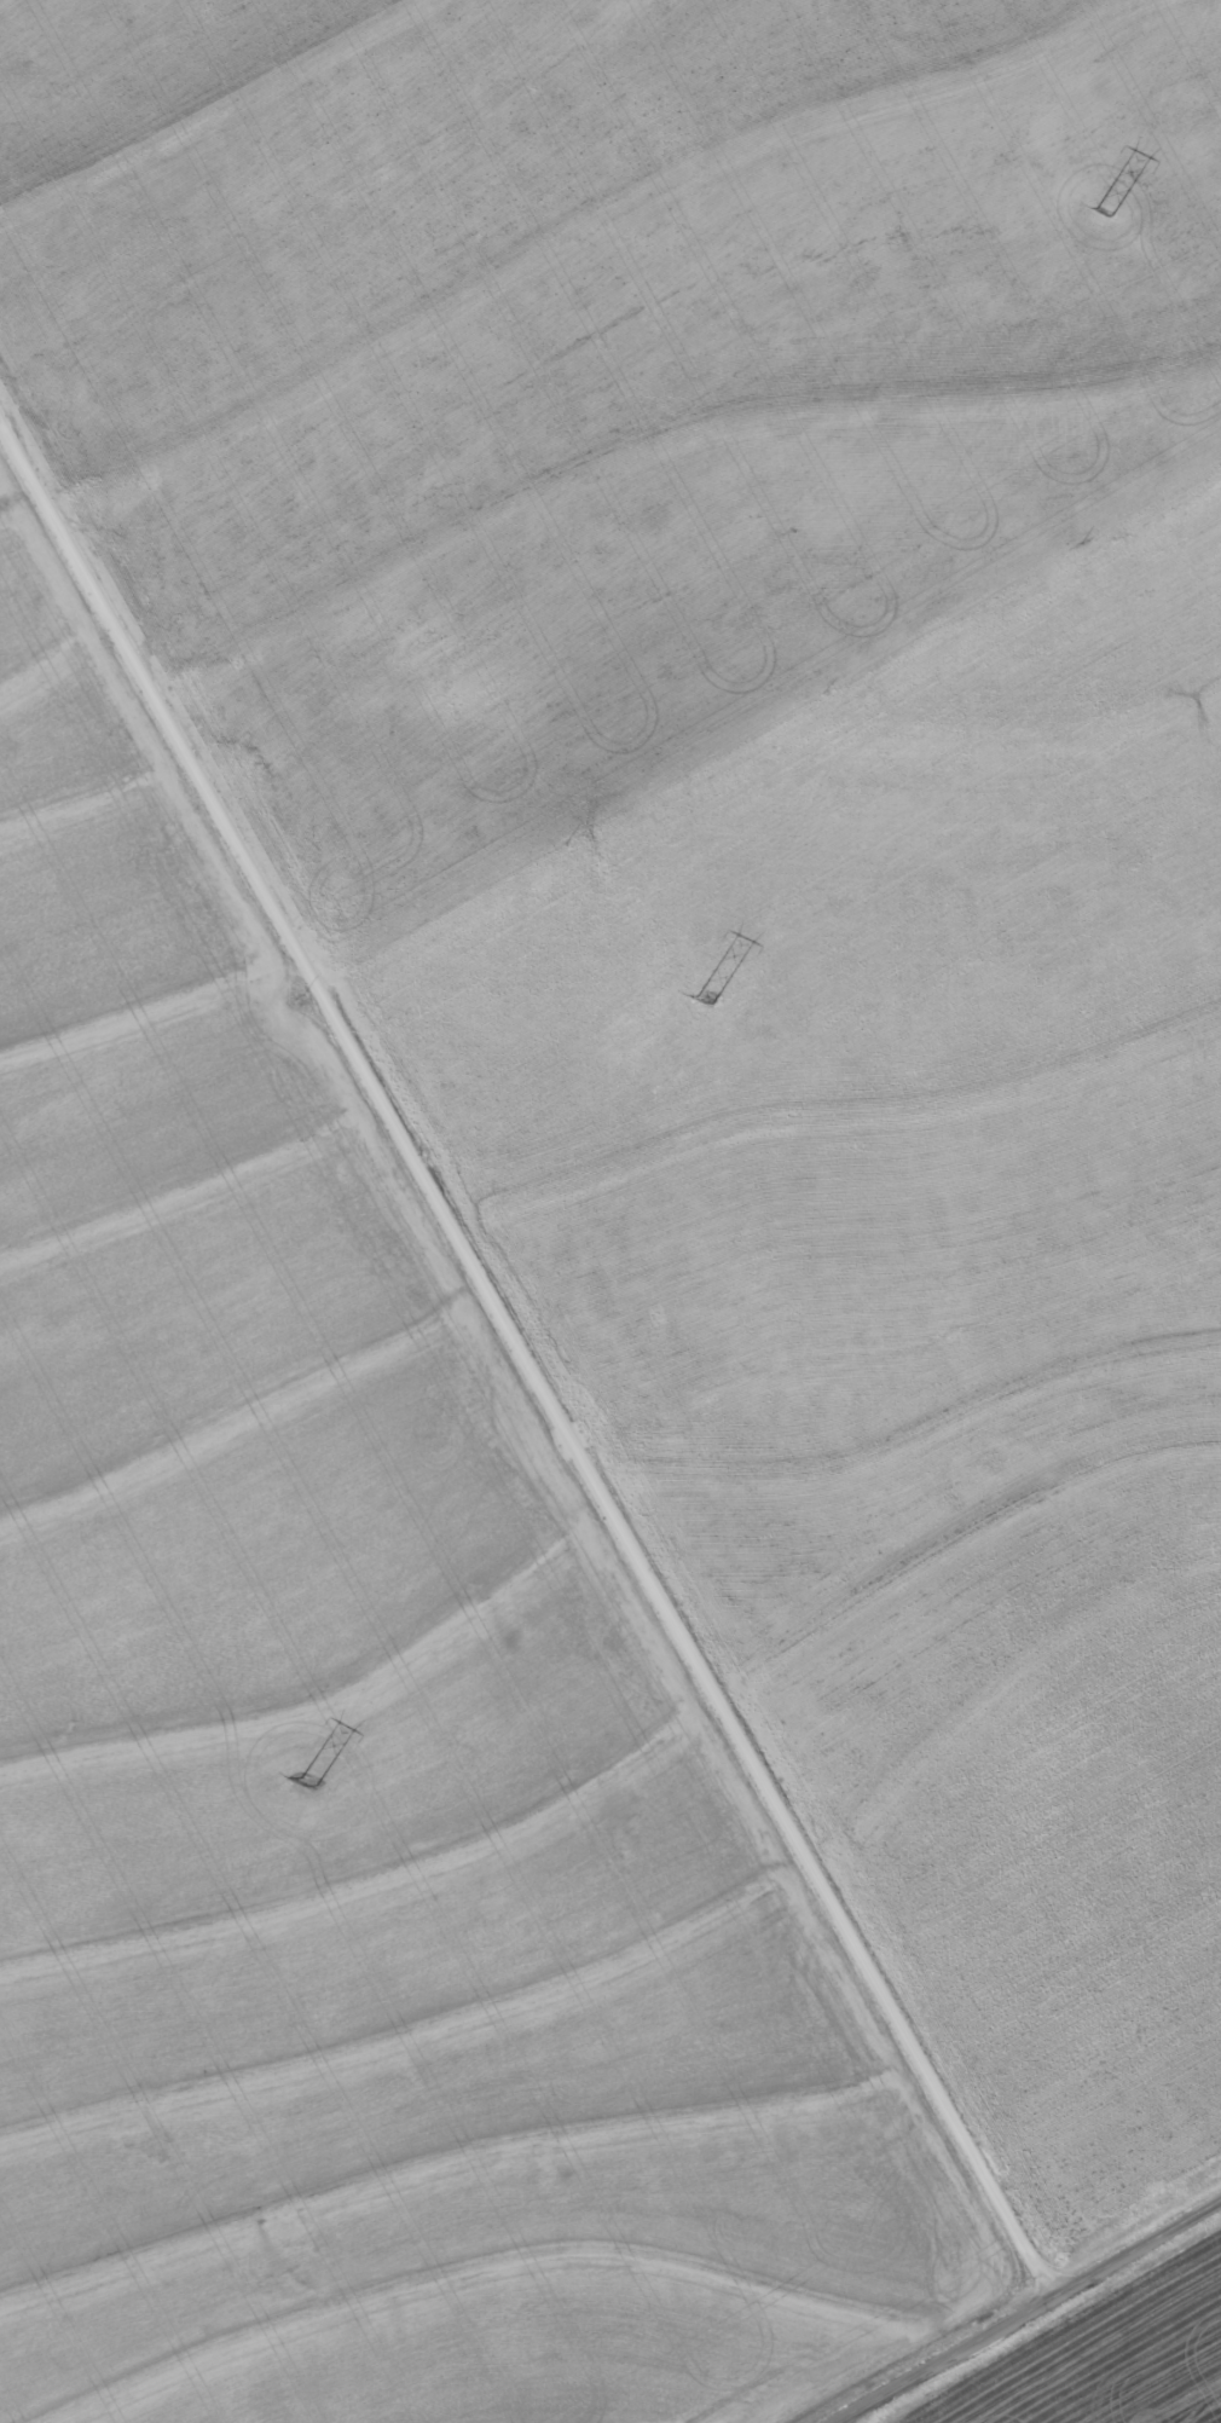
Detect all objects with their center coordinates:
power tower: (1104, 212)
power tower: (708, 1000)
road: (527, 1349)
power tower: (297, 1785)
road: (1025, 2311)

